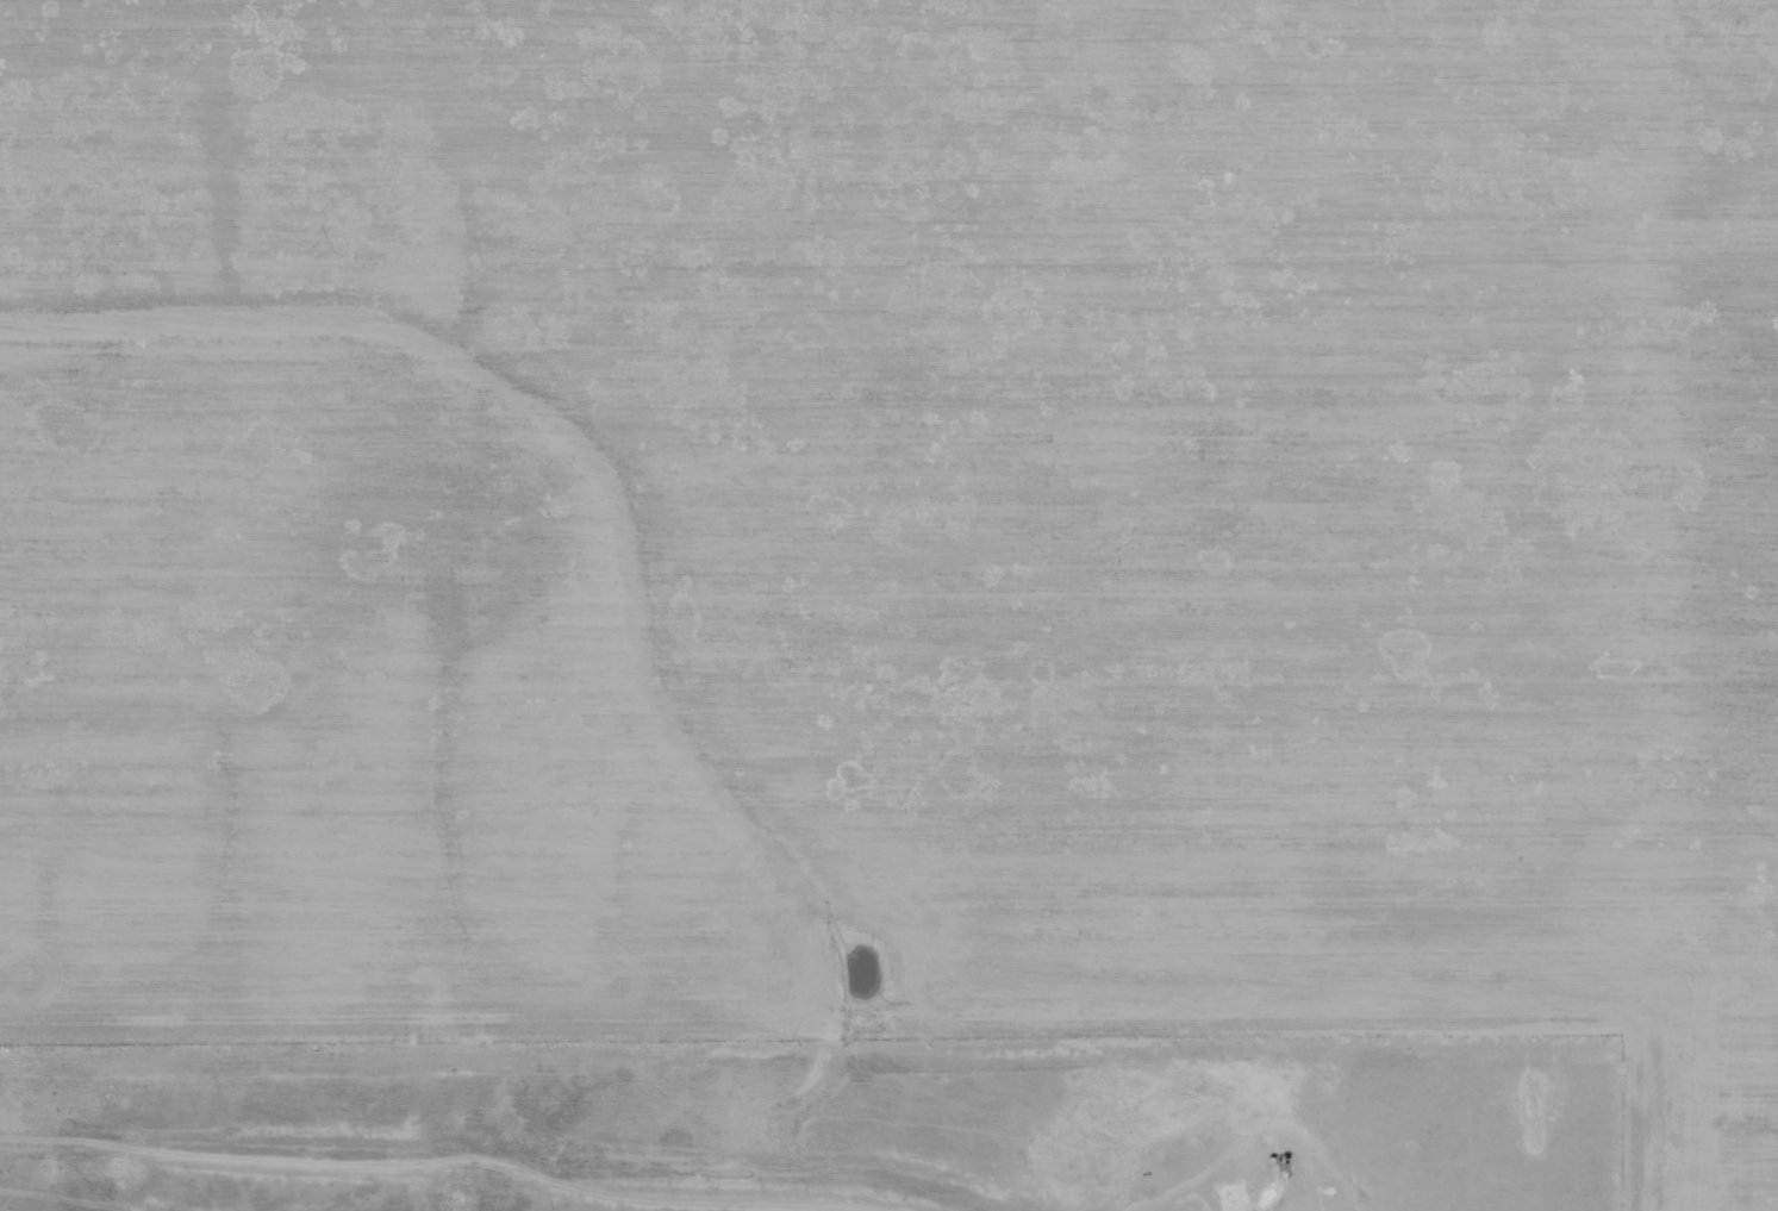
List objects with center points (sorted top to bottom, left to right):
road: (65, 1199)

